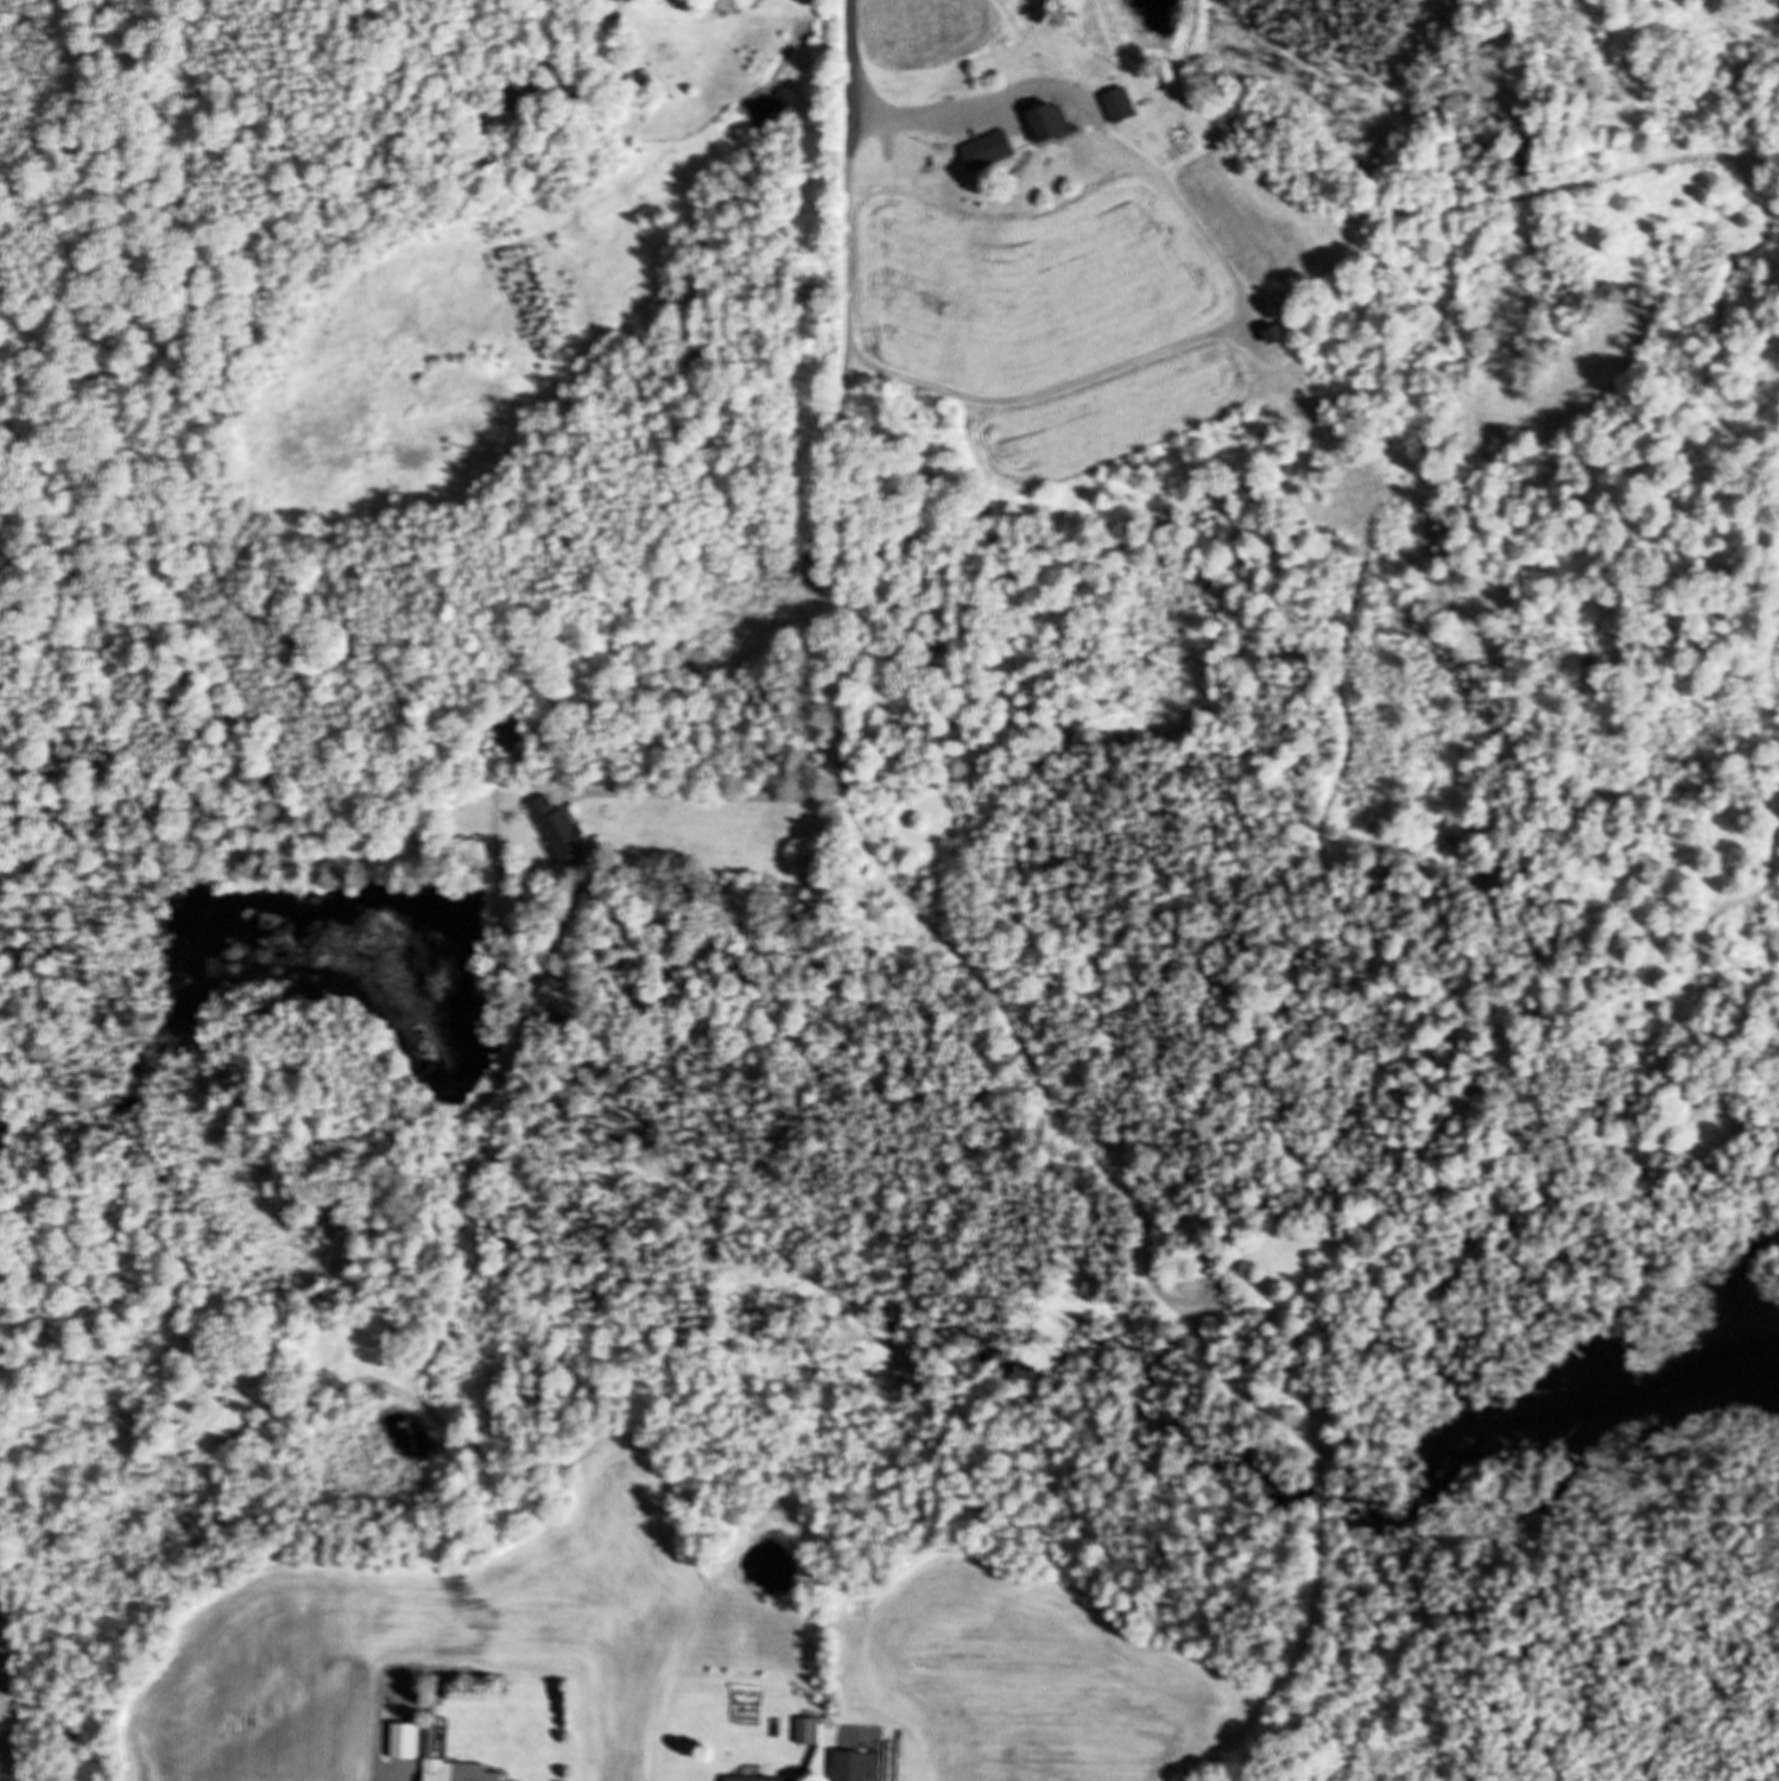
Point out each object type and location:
building: (603, 0)
building: (514, 95)
building: (1116, 104)
building: (1046, 120)
building: (986, 150)
building: (1268, 332)
road: (840, 585)
building: (517, 734)
building: (559, 829)
building: (806, 1730)
building: (401, 1739)
building: (450, 1764)
building: (853, 1766)
building: (754, 1777)

